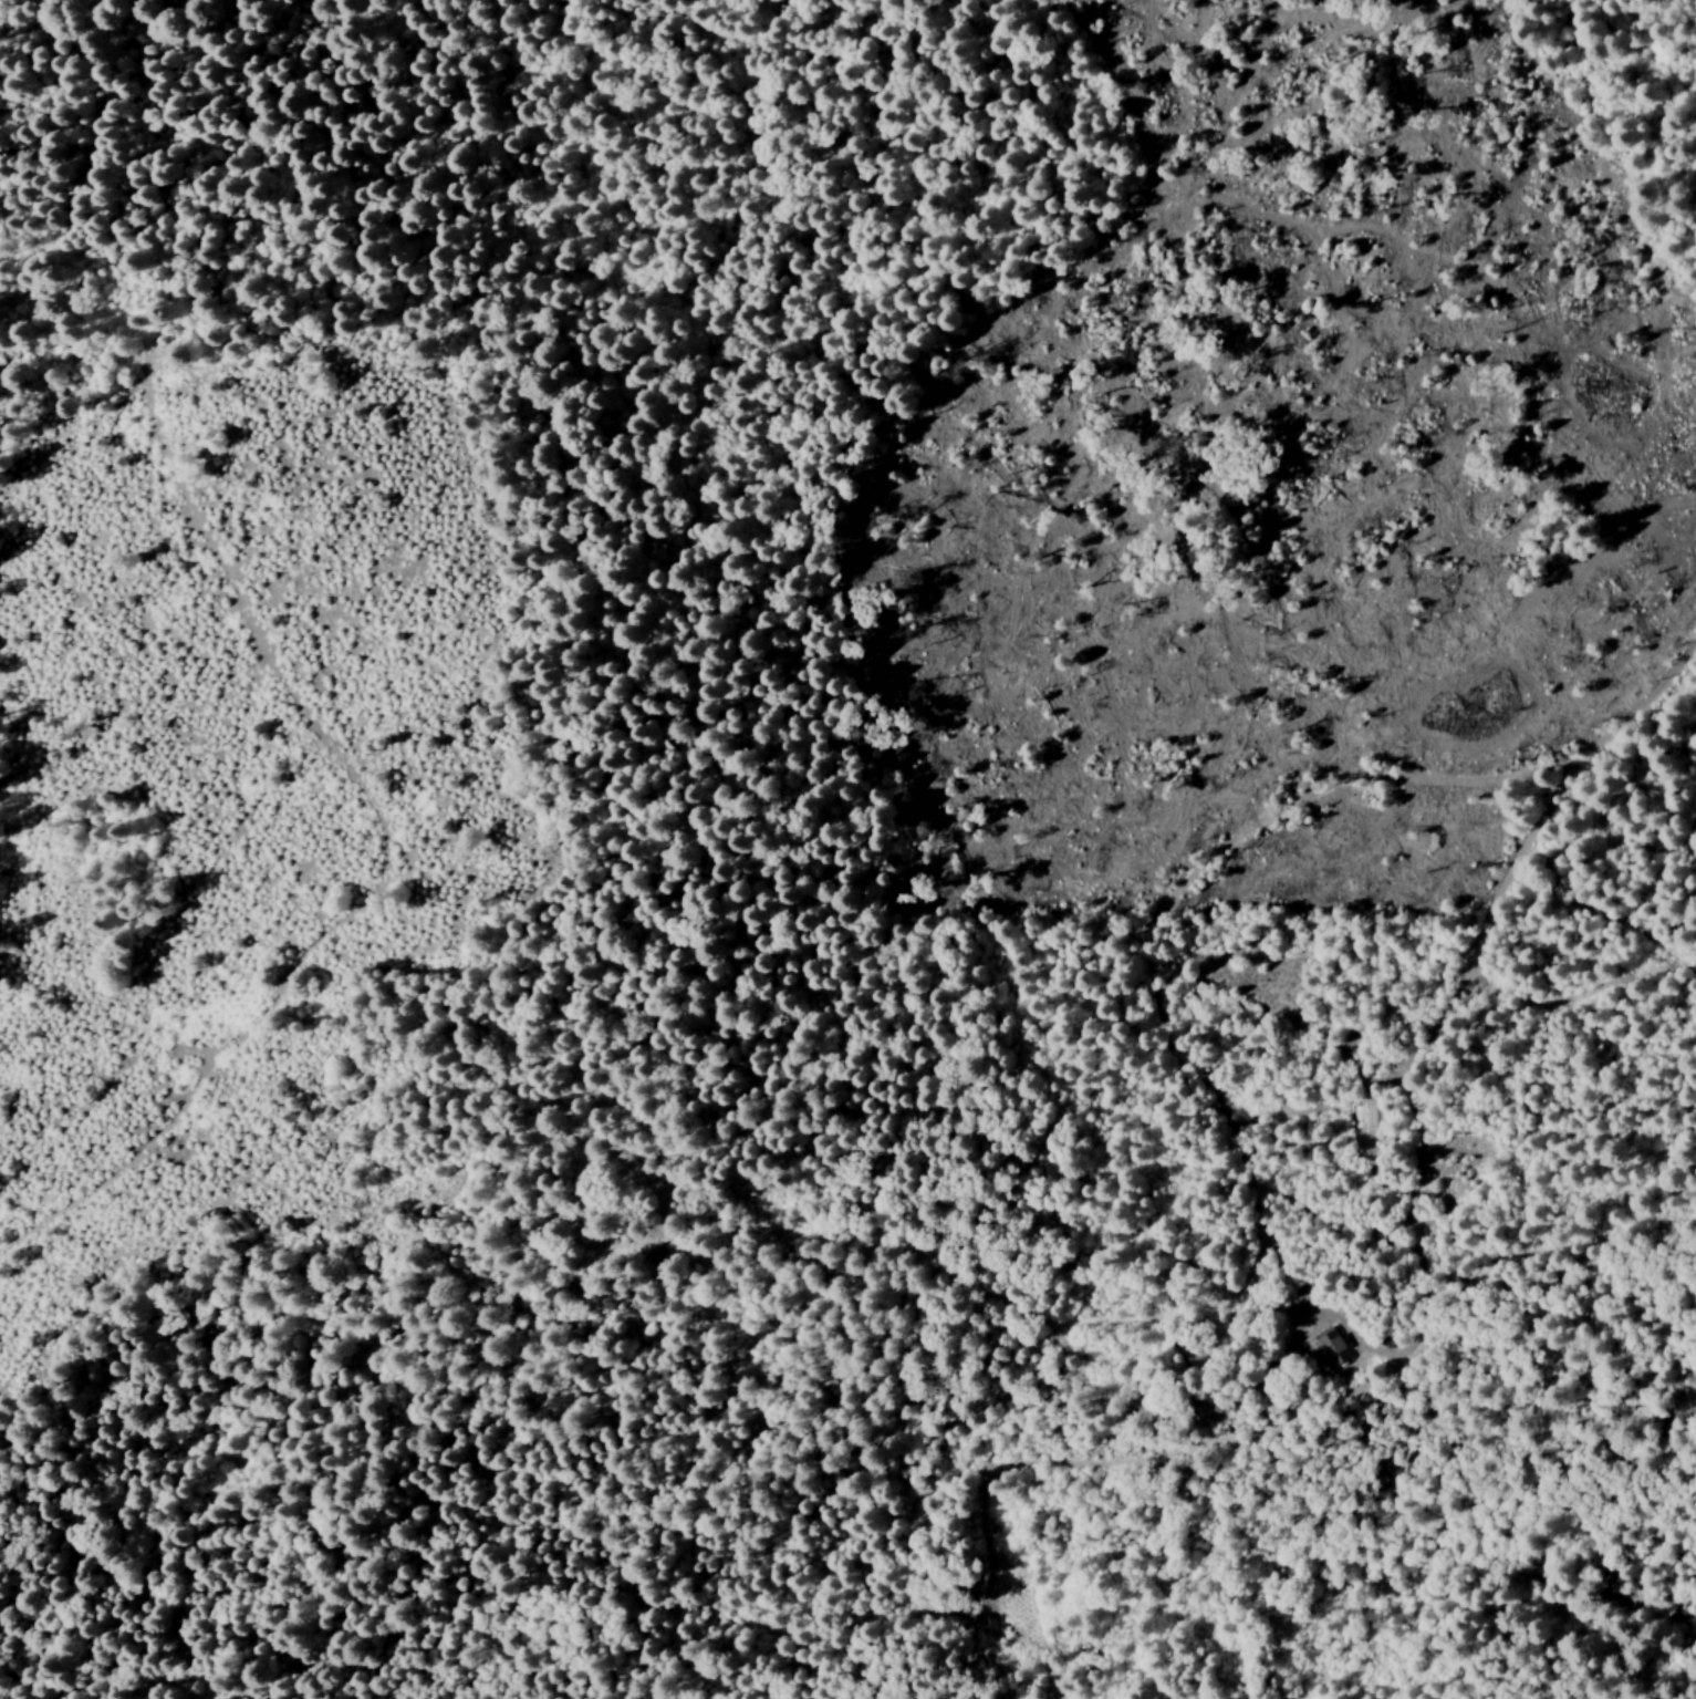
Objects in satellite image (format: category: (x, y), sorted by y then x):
building: (1330, 1347)

